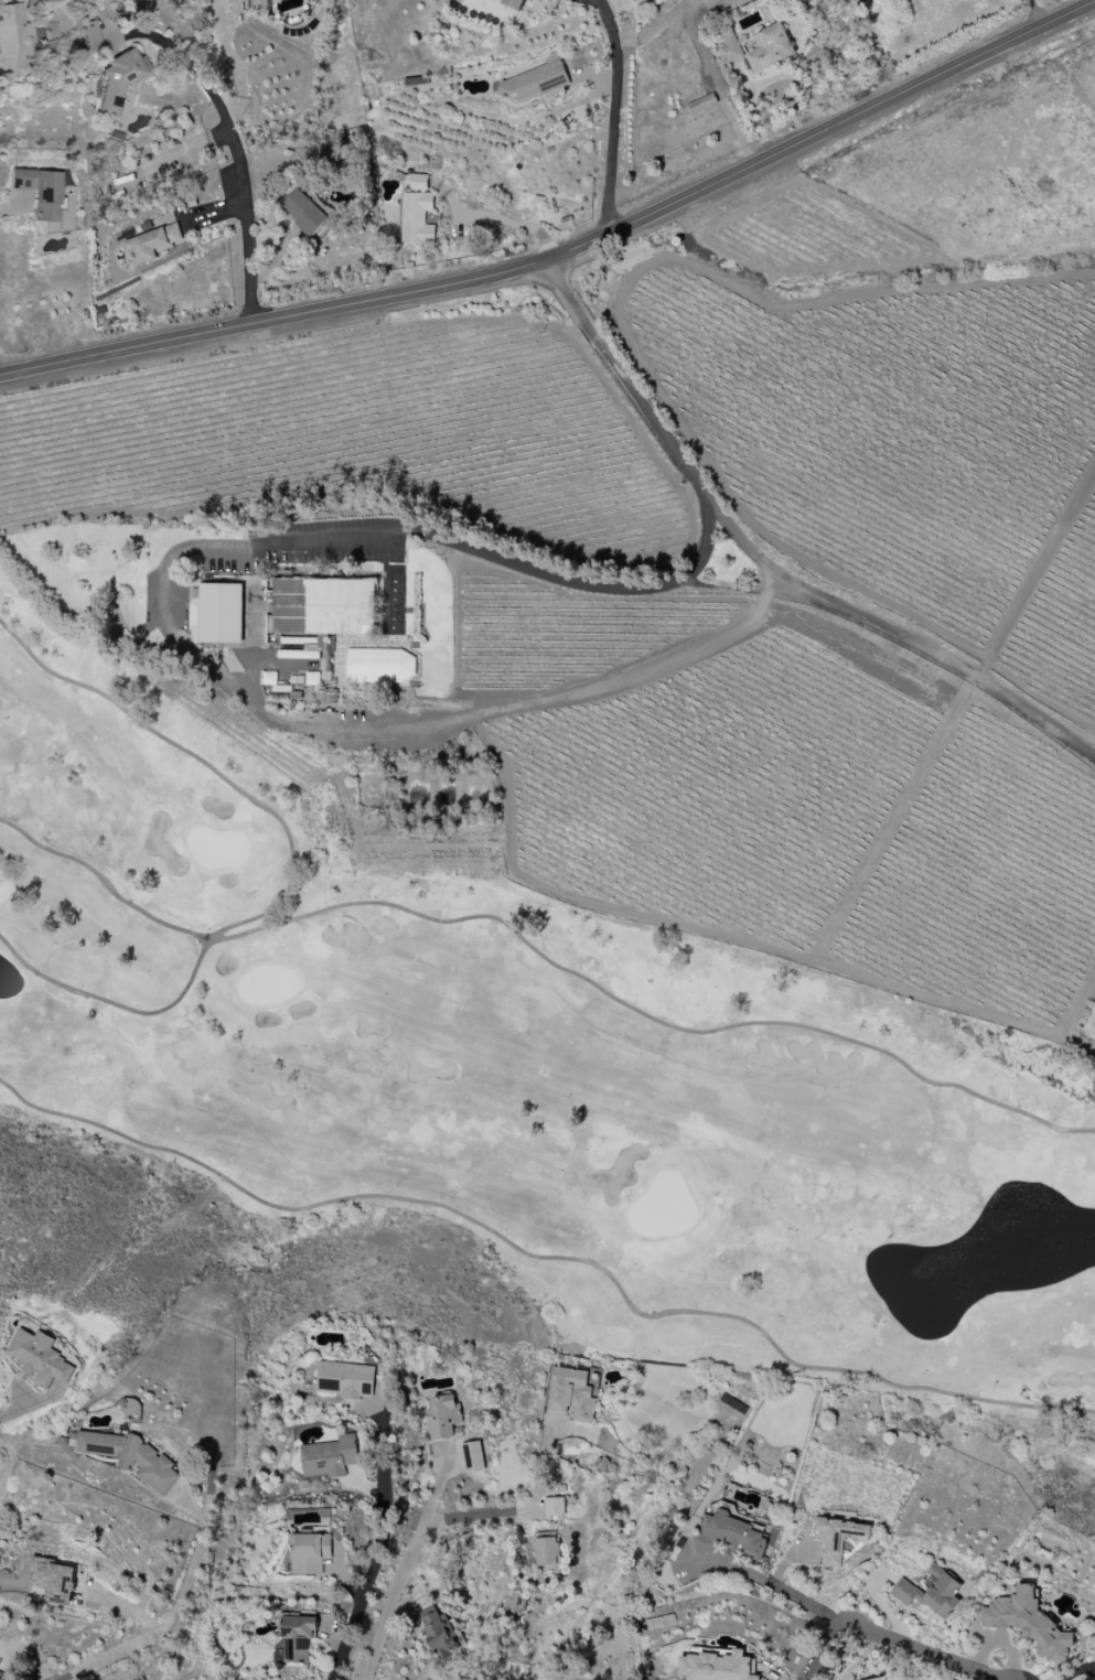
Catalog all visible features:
building: (634, 0)
building: (513, 3)
road: (1038, 12)
building: (89, 36)
building: (13, 37)
building: (728, 45)
building: (769, 47)
road: (237, 64)
building: (119, 83)
building: (534, 83)
building: (701, 103)
road: (613, 116)
road: (237, 140)
building: (416, 181)
building: (41, 192)
road: (222, 211)
building: (303, 212)
building: (416, 218)
road: (513, 224)
building: (152, 244)
road: (569, 251)
road: (706, 538)
road: (332, 541)
parking lot: (331, 543)
road: (769, 566)
road: (726, 589)
building: (323, 606)
building: (221, 613)
building: (380, 666)
building: (269, 678)
road: (536, 694)
park: (555, 1041)
building: (40, 1358)
building: (345, 1379)
building: (571, 1393)
building: (443, 1419)
building: (330, 1456)
building: (473, 1457)
building: (131, 1458)
building: (555, 1506)
road: (429, 1529)
building: (730, 1534)
building: (839, 1537)
road: (379, 1547)
building: (310, 1552)
building: (547, 1552)
building: (53, 1580)
building: (931, 1592)
road: (784, 1593)
road: (173, 1614)
building: (1028, 1623)
building: (441, 1633)
building: (297, 1638)
road: (890, 1640)
building: (716, 1667)
building: (1, 1673)
building: (882, 1679)

